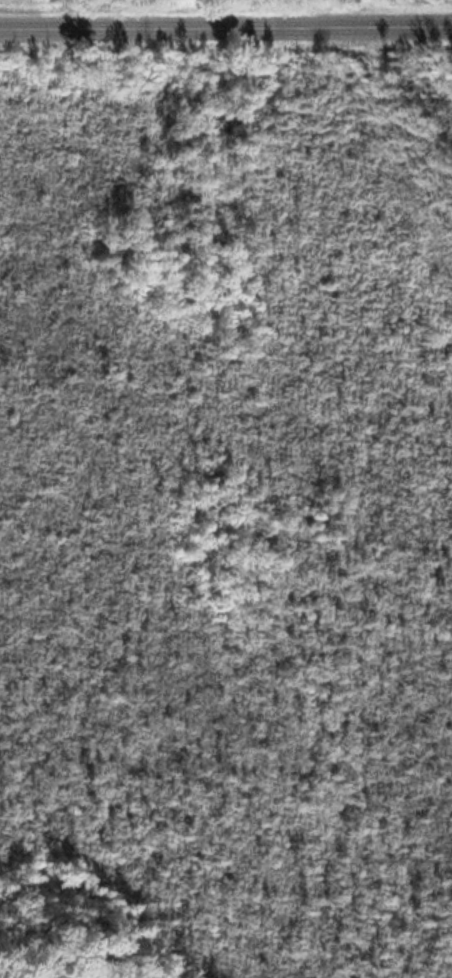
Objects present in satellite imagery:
road: (226, 23)

